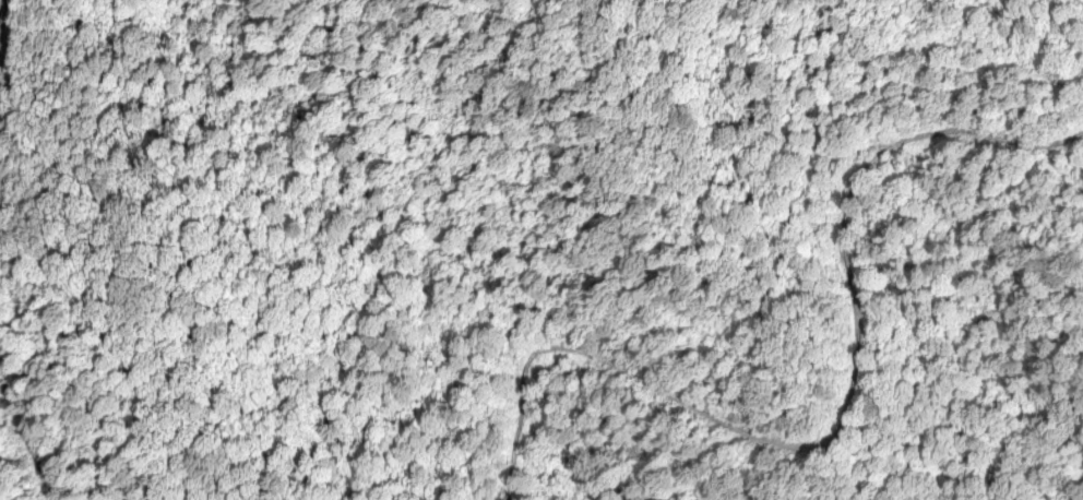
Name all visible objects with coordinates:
road: (2, 12)

